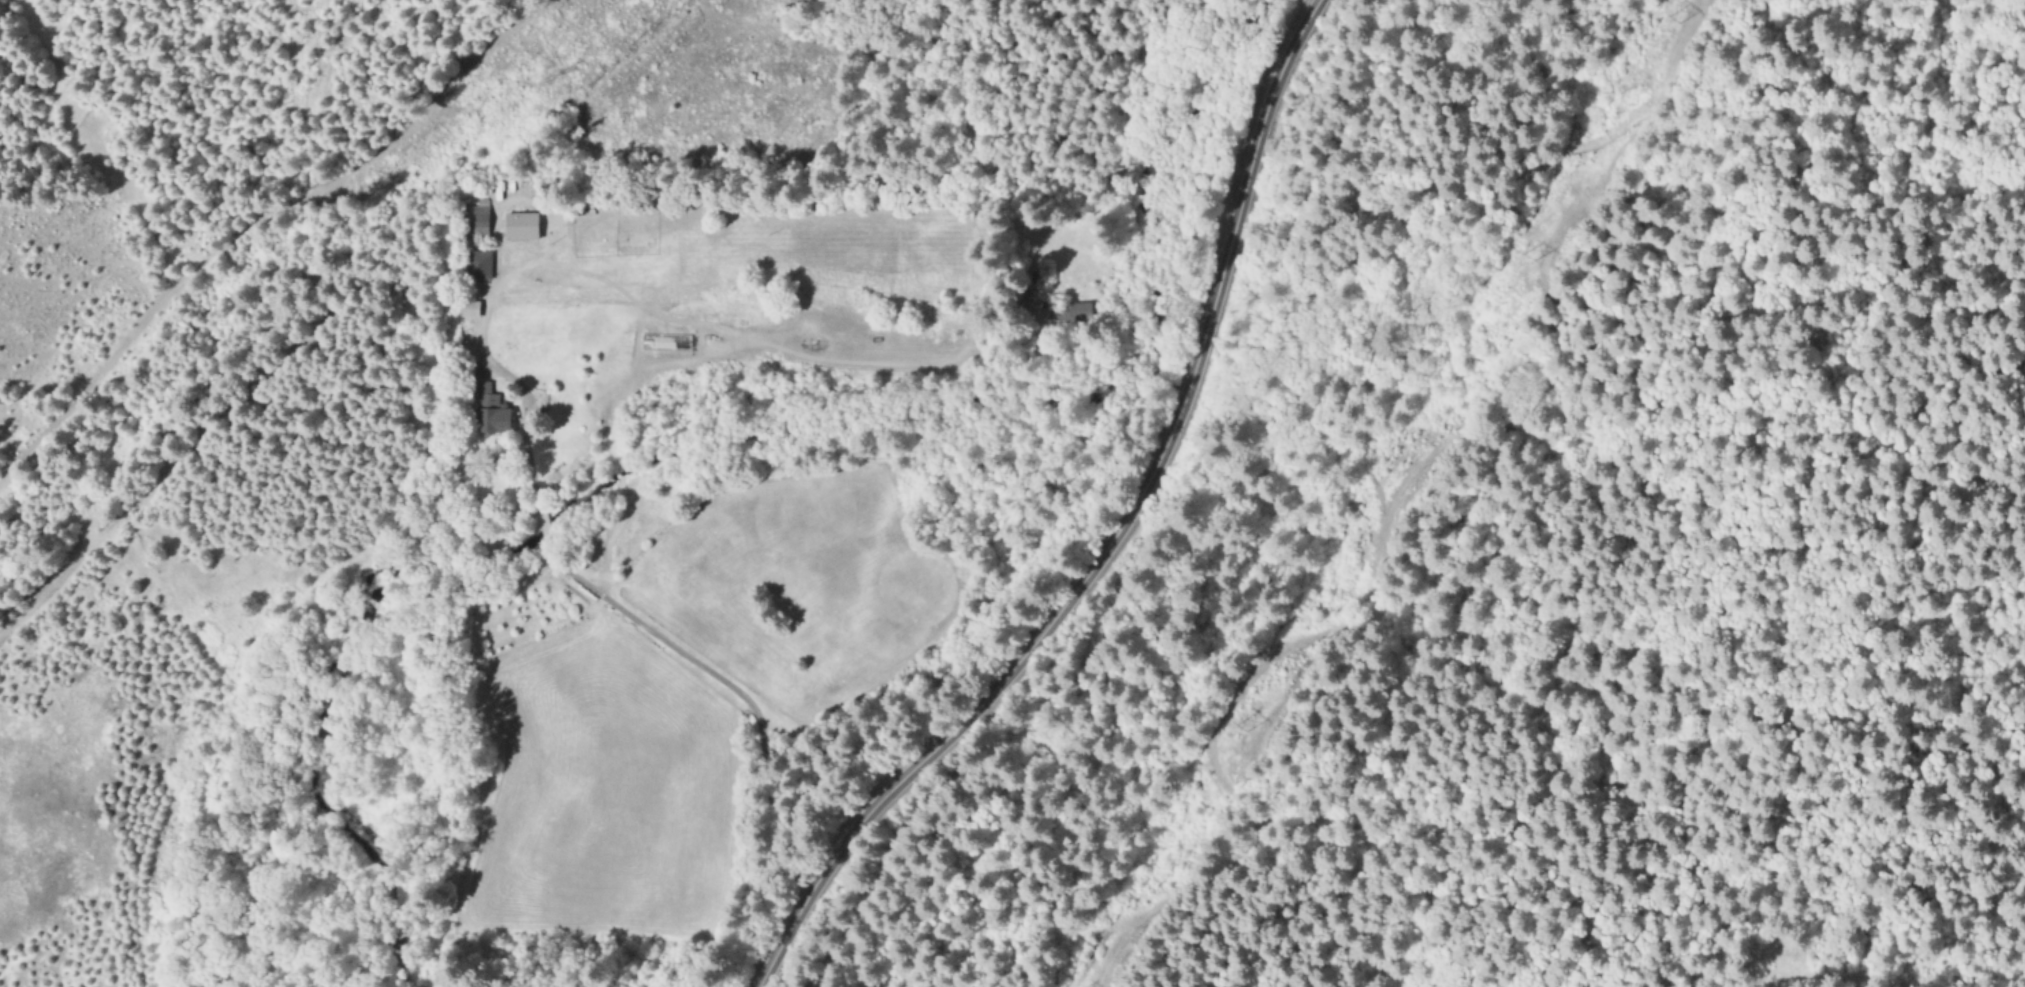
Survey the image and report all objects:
power tower: (1672, 20)
building: (478, 217)
building: (522, 227)
power tower: (1525, 257)
building: (478, 266)
building: (470, 311)
building: (665, 345)
building: (490, 414)
road: (1115, 535)
power tower: (1237, 729)

